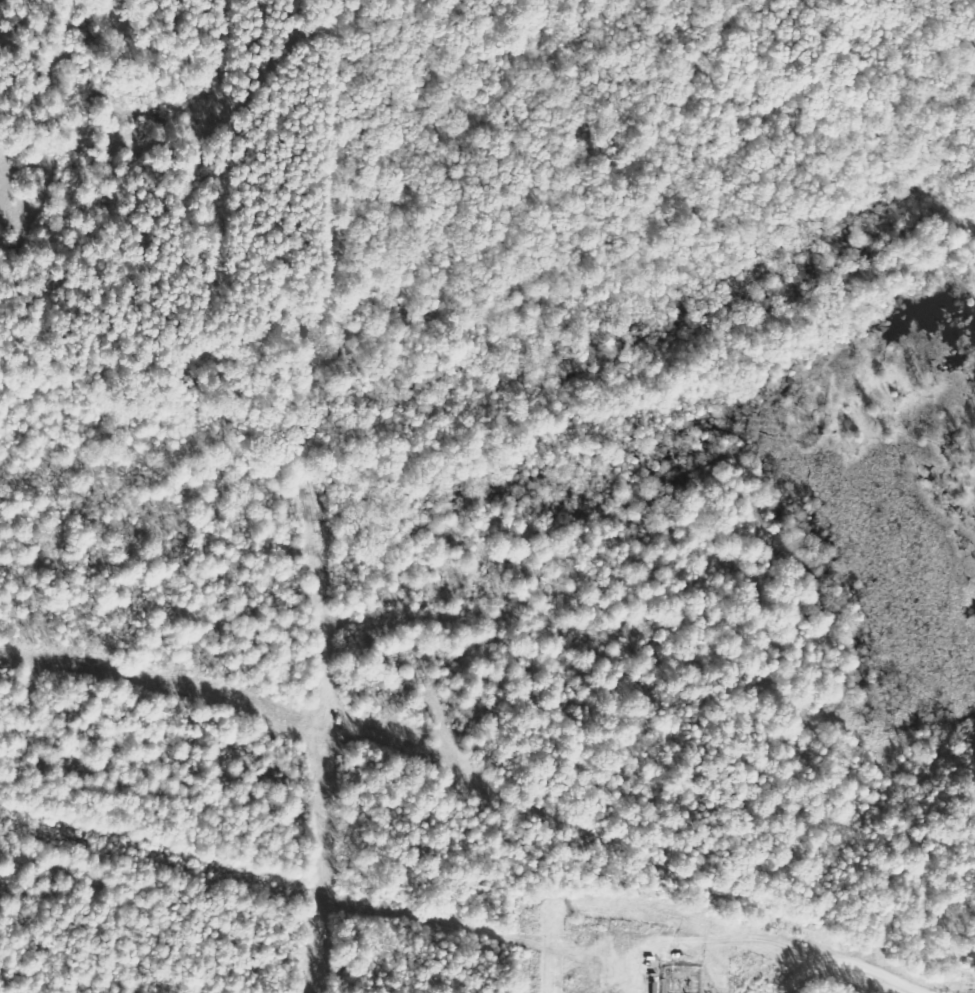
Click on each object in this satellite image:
road: (853, 963)

